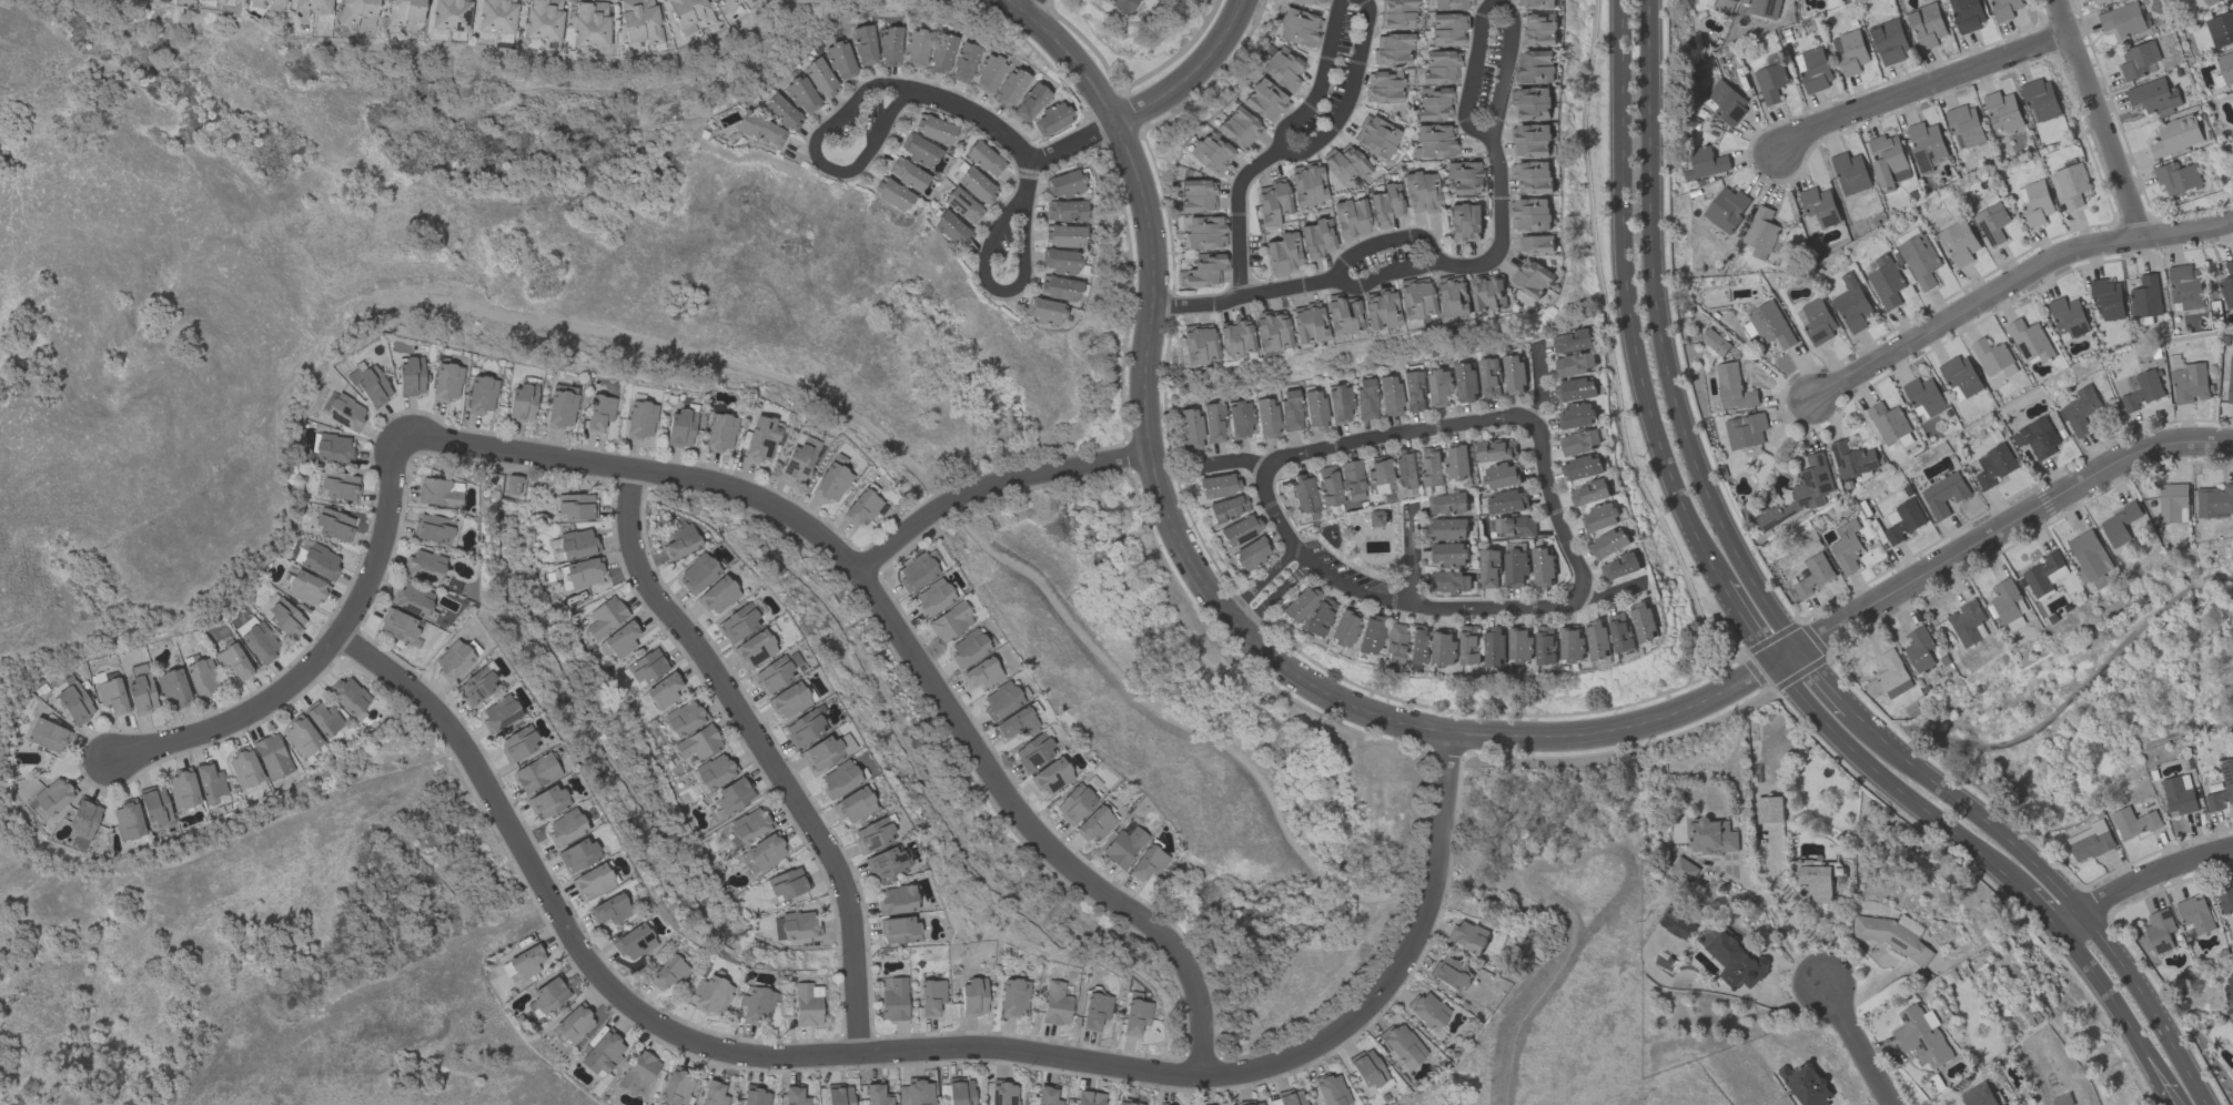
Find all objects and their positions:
building: (214, 0)
building: (1097, 0)
building: (1139, 0)
building: (2096, 0)
building: (270, 1)
building: (1309, 1)
building: (2207, 1)
building: (1533, 2)
building: (727, 3)
building: (1453, 3)
road: (1024, 4)
building: (313, 6)
building: (1122, 6)
building: (1724, 6)
building: (1764, 8)
building: (2003, 8)
building: (404, 11)
building: (356, 12)
building: (688, 13)
building: (1968, 13)
building: (451, 14)
building: (1397, 14)
building: (496, 16)
building: (2122, 19)
building: (542, 20)
building: (638, 21)
building: (589, 24)
building: (1926, 24)
building: (1299, 28)
building: (1537, 28)
building: (1447, 29)
building: (2220, 29)
building: (1889, 41)
building: (865, 45)
building: (890, 47)
building: (916, 48)
building: (1393, 50)
building: (1849, 51)
building: (941, 54)
building: (2138, 59)
building: (840, 61)
building: (964, 63)
building: (1534, 65)
building: (2225, 65)
building: (1439, 67)
road: (1506, 67)
building: (1283, 69)
building: (1812, 69)
building: (989, 74)
road: (1191, 74)
road: (1472, 74)
building: (820, 79)
building: (1770, 82)
road: (1320, 83)
building: (1010, 88)
building: (1383, 88)
road: (1919, 88)
building: (802, 95)
building: (2153, 97)
road: (1347, 98)
building: (2040, 98)
building: (1264, 101)
building: (1724, 101)
building: (1533, 102)
building: (1030, 103)
building: (1432, 103)
building: (782, 113)
road: (974, 114)
road: (2098, 118)
building: (1052, 119)
building: (1964, 125)
building: (1237, 129)
building: (760, 130)
building: (933, 130)
building: (2175, 135)
building: (1375, 138)
building: (1434, 140)
building: (1533, 140)
road: (1074, 141)
building: (1924, 144)
building: (919, 151)
building: (1212, 152)
building: (1887, 159)
road: (818, 160)
building: (983, 160)
street lamp: (1507, 160)
building: (1704, 162)
building: (1347, 165)
building: (1849, 172)
building: (907, 174)
road: (1030, 176)
building: (1533, 176)
building: (2176, 176)
building: (1465, 179)
street lamp: (1255, 182)
building: (1063, 184)
building: (2071, 184)
building: (977, 186)
building: (1307, 186)
road: (1499, 189)
building: (1422, 193)
building: (891, 194)
building: (1198, 196)
building: (2034, 202)
building: (1386, 203)
building: (1273, 204)
building: (1819, 205)
building: (962, 206)
building: (1726, 209)
building: (1064, 211)
building: (1530, 213)
road: (1237, 217)
building: (1350, 219)
building: (1464, 221)
building: (1991, 223)
road: (1417, 229)
building: (950, 230)
building: (1205, 231)
building: (1760, 232)
road: (1433, 234)
building: (1062, 236)
building: (1316, 236)
street lamp: (1486, 240)
building: (1958, 242)
road: (1383, 243)
building: (1536, 244)
road: (1477, 252)
street lamp: (1165, 253)
building: (1282, 253)
road: (1459, 253)
road: (1509, 254)
street lamp: (1381, 257)
building: (1917, 258)
building: (1059, 262)
road: (1502, 264)
road: (1475, 265)
road: (1487, 266)
building: (1200, 267)
road: (1479, 270)
road: (1444, 271)
road: (1454, 271)
street lamp: (1267, 277)
road: (1386, 277)
building: (1534, 277)
road: (2011, 281)
building: (1886, 282)
building: (2226, 284)
building: (2184, 286)
building: (1059, 288)
road: (996, 290)
building: (1488, 292)
road: (1243, 295)
building: (2145, 296)
building: (2106, 297)
building: (1451, 298)
road: (1627, 300)
building: (1415, 303)
building: (1851, 304)
building: (1044, 312)
building: (1380, 312)
building: (1342, 314)
building: (2068, 316)
building: (1307, 324)
building: (1770, 324)
building: (1271, 331)
building: (1234, 337)
building: (1570, 341)
building: (2030, 341)
road: (1660, 342)
building: (1714, 342)
building: (1198, 344)
road: (1607, 351)
building: (1993, 357)
building: (1574, 363)
building: (1513, 374)
building: (411, 376)
building: (1488, 377)
building: (1960, 377)
building: (2230, 379)
building: (1465, 382)
building: (2189, 382)
building: (446, 383)
road: (1538, 384)
building: (371, 386)
building: (1439, 387)
building: (1732, 387)
building: (1576, 388)
building: (2141, 389)
building: (1413, 391)
building: (482, 395)
building: (1924, 395)
building: (1390, 396)
building: (1366, 398)
building: (522, 404)
building: (1340, 404)
building: (562, 407)
building: (2080, 409)
building: (1290, 410)
building: (1314, 410)
building: (343, 412)
building: (599, 413)
building: (1576, 415)
building: (1265, 418)
building: (1240, 419)
building: (640, 420)
road: (1145, 422)
building: (1888, 422)
building: (1213, 423)
building: (679, 429)
building: (1190, 429)
building: (1745, 429)
building: (719, 433)
road: (1392, 433)
building: (2035, 436)
building: (760, 439)
building: (1578, 442)
building: (333, 449)
building: (1496, 449)
building: (1852, 459)
building: (1456, 462)
building: (797, 463)
road: (1231, 464)
building: (1993, 465)
building: (1431, 466)
building: (1582, 467)
building: (1405, 468)
building: (1501, 475)
building: (1380, 477)
building: (832, 479)
road: (917, 480)
building: (1351, 481)
building: (512, 485)
building: (340, 486)
building: (1219, 486)
building: (1327, 486)
road: (993, 487)
building: (1588, 493)
building: (1800, 493)
building: (437, 494)
building: (1303, 494)
building: (1943, 494)
building: (1507, 500)
building: (2214, 500)
building: (1447, 503)
building: (2173, 503)
building: (576, 507)
building: (861, 507)
building: (1227, 508)
road: (1553, 510)
building: (1600, 517)
building: (1377, 518)
building: (1903, 520)
building: (2119, 524)
building: (334, 526)
building: (1512, 526)
building: (1446, 528)
building: (433, 529)
building: (1240, 530)
building: (679, 543)
building: (1609, 544)
building: (573, 546)
building: (1846, 546)
building: (1448, 554)
building: (2089, 554)
building: (1251, 555)
road: (1409, 555)
building: (320, 562)
building: (424, 566)
building: (1515, 566)
building: (1619, 566)
building: (1542, 567)
building: (1488, 568)
building: (697, 572)
building: (916, 572)
building: (2044, 574)
building: (582, 575)
building: (1812, 575)
road: (1263, 580)
building: (1451, 581)
building: (306, 588)
road: (1610, 591)
road: (1275, 594)
building: (717, 596)
building: (932, 598)
road: (1385, 598)
building: (412, 600)
building: (2007, 600)
building: (1299, 605)
building: (606, 617)
building: (1318, 617)
building: (285, 619)
road: (1851, 619)
building: (1644, 620)
building: (950, 622)
building: (1967, 622)
building: (738, 624)
road: (1747, 625)
building: (397, 627)
building: (1343, 629)
building: (1620, 631)
building: (1370, 635)
building: (1598, 639)
building: (619, 641)
road: (906, 641)
building: (260, 642)
building: (1393, 643)
building: (1418, 643)
building: (1469, 643)
building: (1520, 643)
building: (1572, 643)
building: (1546, 645)
building: (1495, 646)
building: (968, 648)
building: (1444, 648)
building: (754, 649)
building: (1919, 649)
road: (327, 652)
building: (452, 661)
building: (232, 662)
building: (648, 667)
building: (980, 673)
building: (1892, 673)
building: (772, 676)
building: (202, 679)
building: (476, 687)
road: (1828, 687)
building: (172, 689)
building: (664, 691)
road: (2068, 695)
park: (2095, 695)
building: (111, 696)
building: (141, 696)
building: (348, 696)
building: (1001, 700)
building: (788, 701)
building: (74, 703)
building: (498, 714)
building: (684, 718)
building: (324, 720)
building: (1017, 723)
building: (804, 729)
building: (48, 736)
building: (301, 737)
building: (698, 743)
building: (517, 744)
road: (764, 751)
building: (826, 751)
building: (1033, 752)
building: (272, 758)
building: (244, 769)
building: (715, 771)
building: (536, 773)
building: (2226, 775)
building: (1051, 777)
building: (838, 780)
road: (1885, 783)
building: (183, 790)
building: (2179, 793)
building: (734, 795)
building: (50, 800)
building: (547, 802)
building: (1073, 804)
building: (855, 805)
building: (154, 807)
building: (1768, 809)
road: (1973, 813)
building: (83, 819)
building: (128, 821)
building: (2133, 821)
building: (1094, 824)
building: (749, 825)
building: (565, 828)
building: (872, 835)
building: (1711, 835)
building: (2089, 841)
building: (762, 854)
building: (577, 855)
building: (885, 863)
building: (1146, 863)
building: (1683, 869)
building: (1813, 876)
road: (2139, 880)
building: (593, 882)
building: (787, 884)
building: (2225, 900)
building: (895, 901)
road: (2032, 909)
building: (609, 910)
road: (1786, 912)
building: (2194, 914)
road: (1775, 915)
building: (1677, 925)
building: (795, 926)
building: (2160, 930)
building: (898, 931)
building: (1467, 935)
building: (1894, 935)
building: (634, 943)
building: (1732, 959)
building: (526, 962)
building: (667, 973)
building: (1449, 974)
building: (2230, 986)
building: (710, 995)
building: (548, 996)
building: (931, 997)
building: (973, 997)
building: (893, 998)
building: (1013, 998)
road: (2109, 1002)
building: (756, 1004)
building: (806, 1005)
building: (1055, 1005)
road: (2149, 1005)
building: (1094, 1011)
building: (1427, 1011)
building: (1134, 1017)
building: (573, 1025)
building: (1922, 1036)
building: (2231, 1041)
road: (1856, 1042)
building: (1402, 1046)
road: (910, 1048)
building: (602, 1054)
building: (1368, 1071)
building: (638, 1072)
building: (1806, 1084)
building: (676, 1087)
road: (2164, 1092)
building: (916, 1093)
building: (960, 1093)
building: (714, 1094)
building: (1003, 1094)
building: (876, 1095)
building: (1979, 1095)
building: (756, 1096)
building: (795, 1096)
building: (1047, 1096)
building: (1089, 1098)
building: (1289, 1098)
building: (2062, 1099)
building: (1128, 1103)

